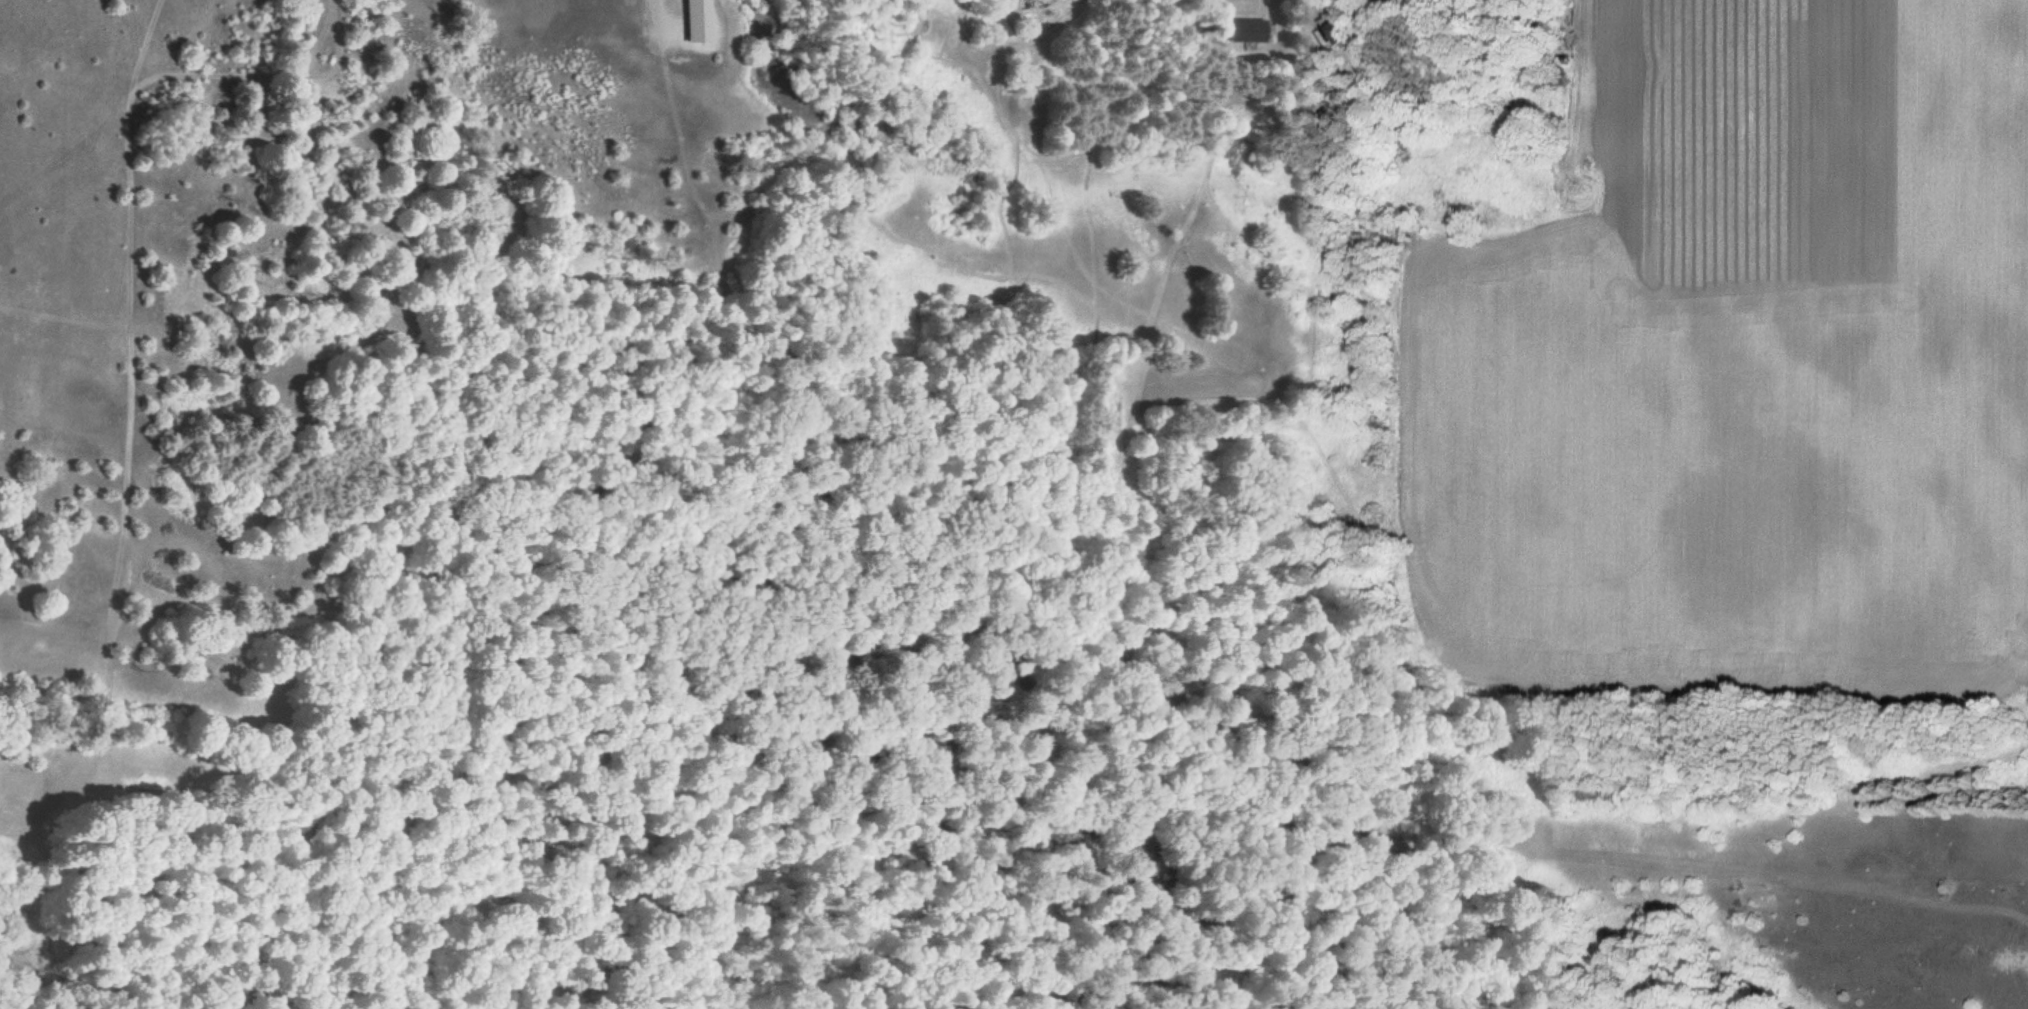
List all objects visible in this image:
building: (1243, 32)
building: (1332, 32)

